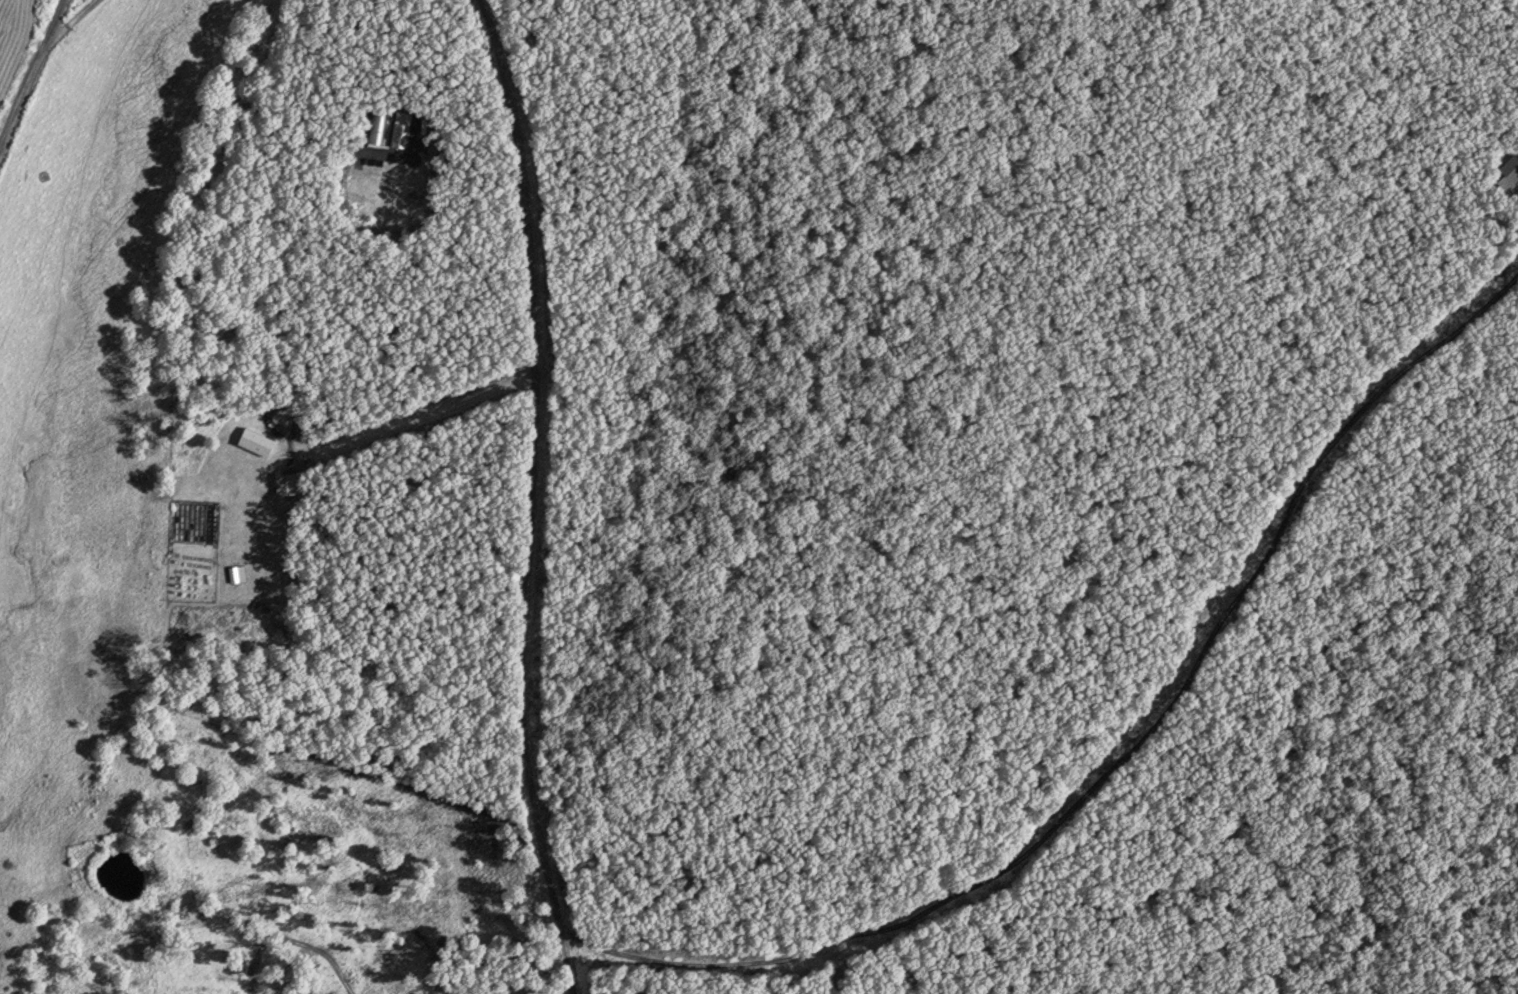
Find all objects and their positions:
road: (74, 19)
road: (34, 78)
building: (1508, 173)
road: (531, 496)
road: (1126, 753)

